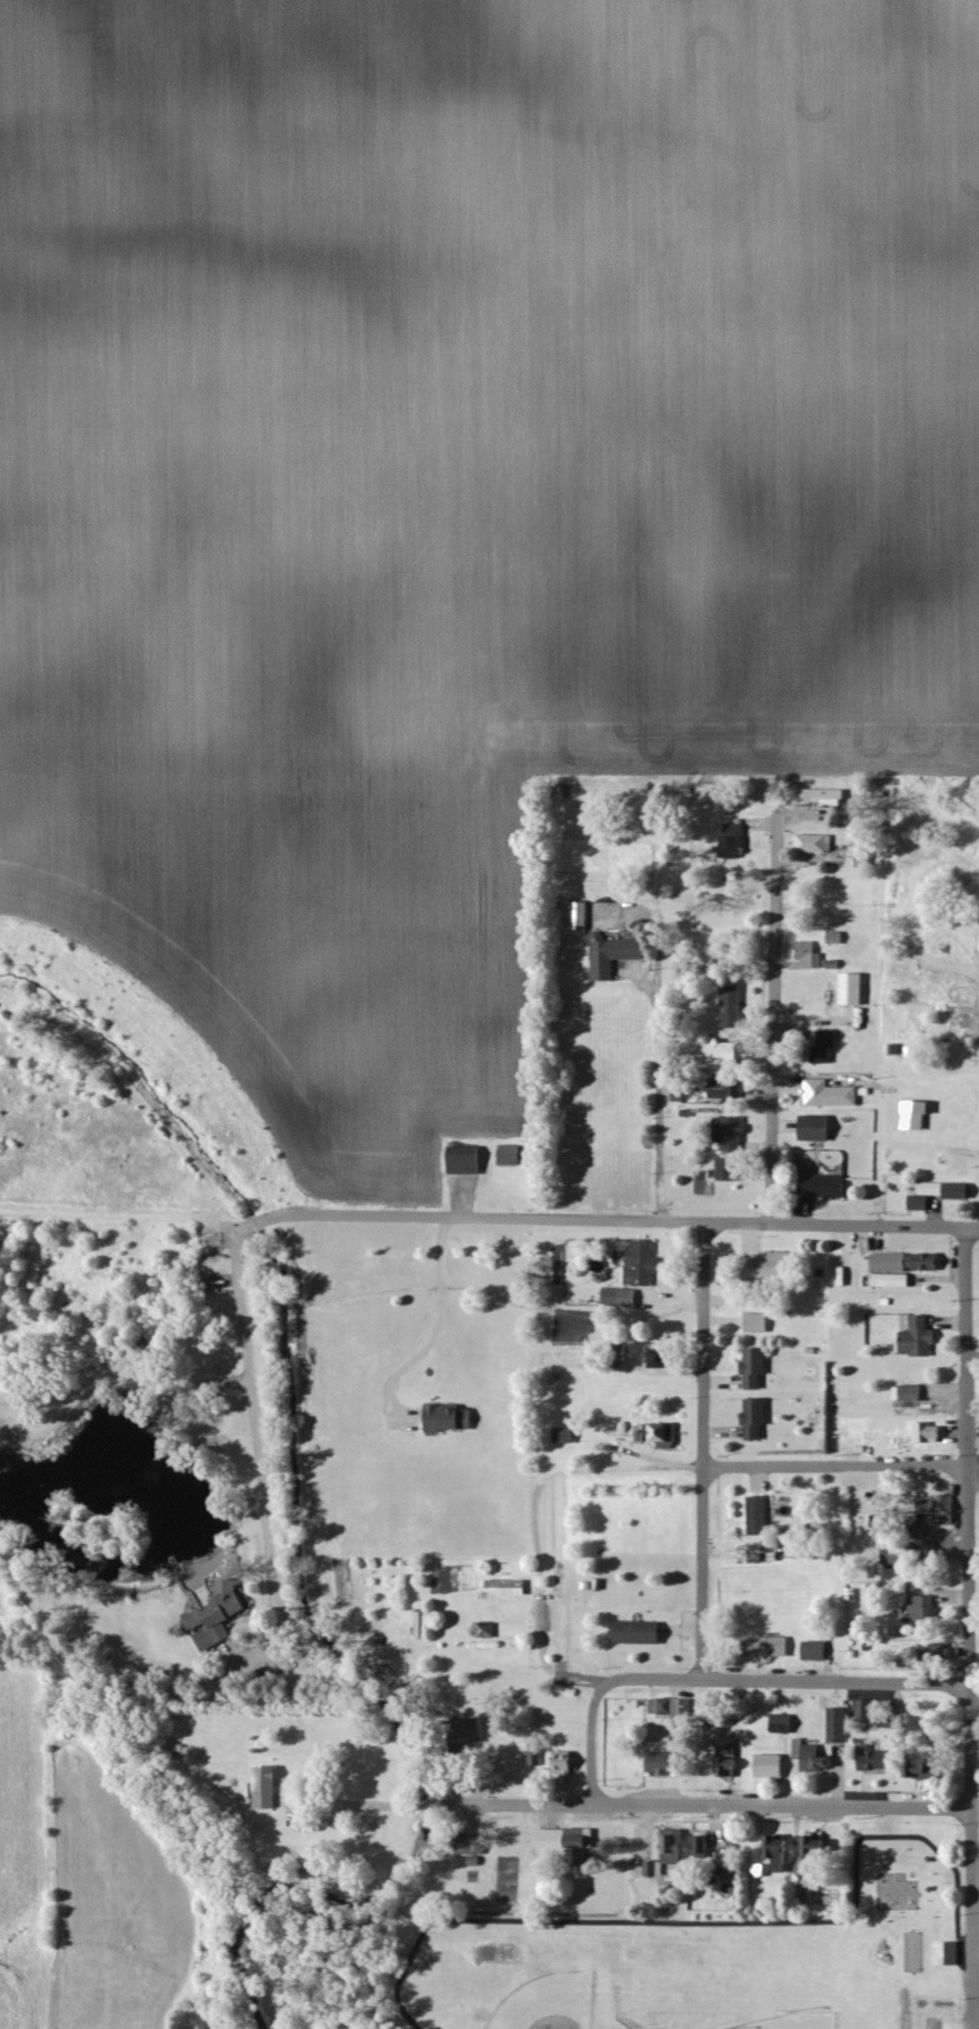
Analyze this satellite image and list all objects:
building: (814, 844)
building: (581, 916)
building: (616, 956)
building: (854, 989)
road: (774, 1021)
building: (826, 1046)
building: (725, 1053)
building: (731, 1090)
building: (832, 1095)
road: (657, 1101)
building: (915, 1121)
building: (817, 1129)
building: (732, 1134)
building: (513, 1156)
building: (466, 1160)
building: (729, 1170)
building: (825, 1188)
building: (957, 1191)
building: (926, 1197)
road: (467, 1220)
road: (841, 1227)
building: (928, 1262)
building: (891, 1263)
building: (641, 1264)
building: (774, 1266)
building: (894, 1281)
building: (622, 1299)
building: (759, 1323)
road: (438, 1329)
building: (920, 1338)
road: (966, 1348)
building: (660, 1360)
building: (757, 1368)
building: (909, 1394)
building: (451, 1419)
building: (756, 1419)
road: (256, 1433)
building: (928, 1434)
building: (659, 1435)
building: (567, 1436)
road: (701, 1452)
road: (834, 1467)
building: (940, 1511)
building: (759, 1516)
building: (894, 1555)
building: (511, 1587)
building: (924, 1609)
building: (219, 1616)
building: (487, 1631)
building: (639, 1633)
building: (767, 1647)
building: (936, 1650)
building: (816, 1652)
road: (790, 1683)
building: (668, 1708)
building: (867, 1712)
road: (974, 1712)
building: (783, 1725)
building: (838, 1726)
building: (471, 1731)
road: (593, 1741)
road: (969, 1747)
building: (812, 1757)
building: (536, 1759)
building: (875, 1760)
building: (566, 1763)
building: (728, 1763)
building: (665, 1766)
building: (771, 1766)
building: (928, 1768)
building: (265, 1789)
road: (662, 1808)
road: (290, 1816)
building: (568, 1840)
building: (471, 1846)
building: (675, 1847)
building: (702, 1850)
building: (817, 1850)
building: (781, 1852)
building: (652, 1869)
road: (976, 1882)
road: (722, 1923)
building: (944, 1955)
park: (702, 1958)
park: (795, 2021)

